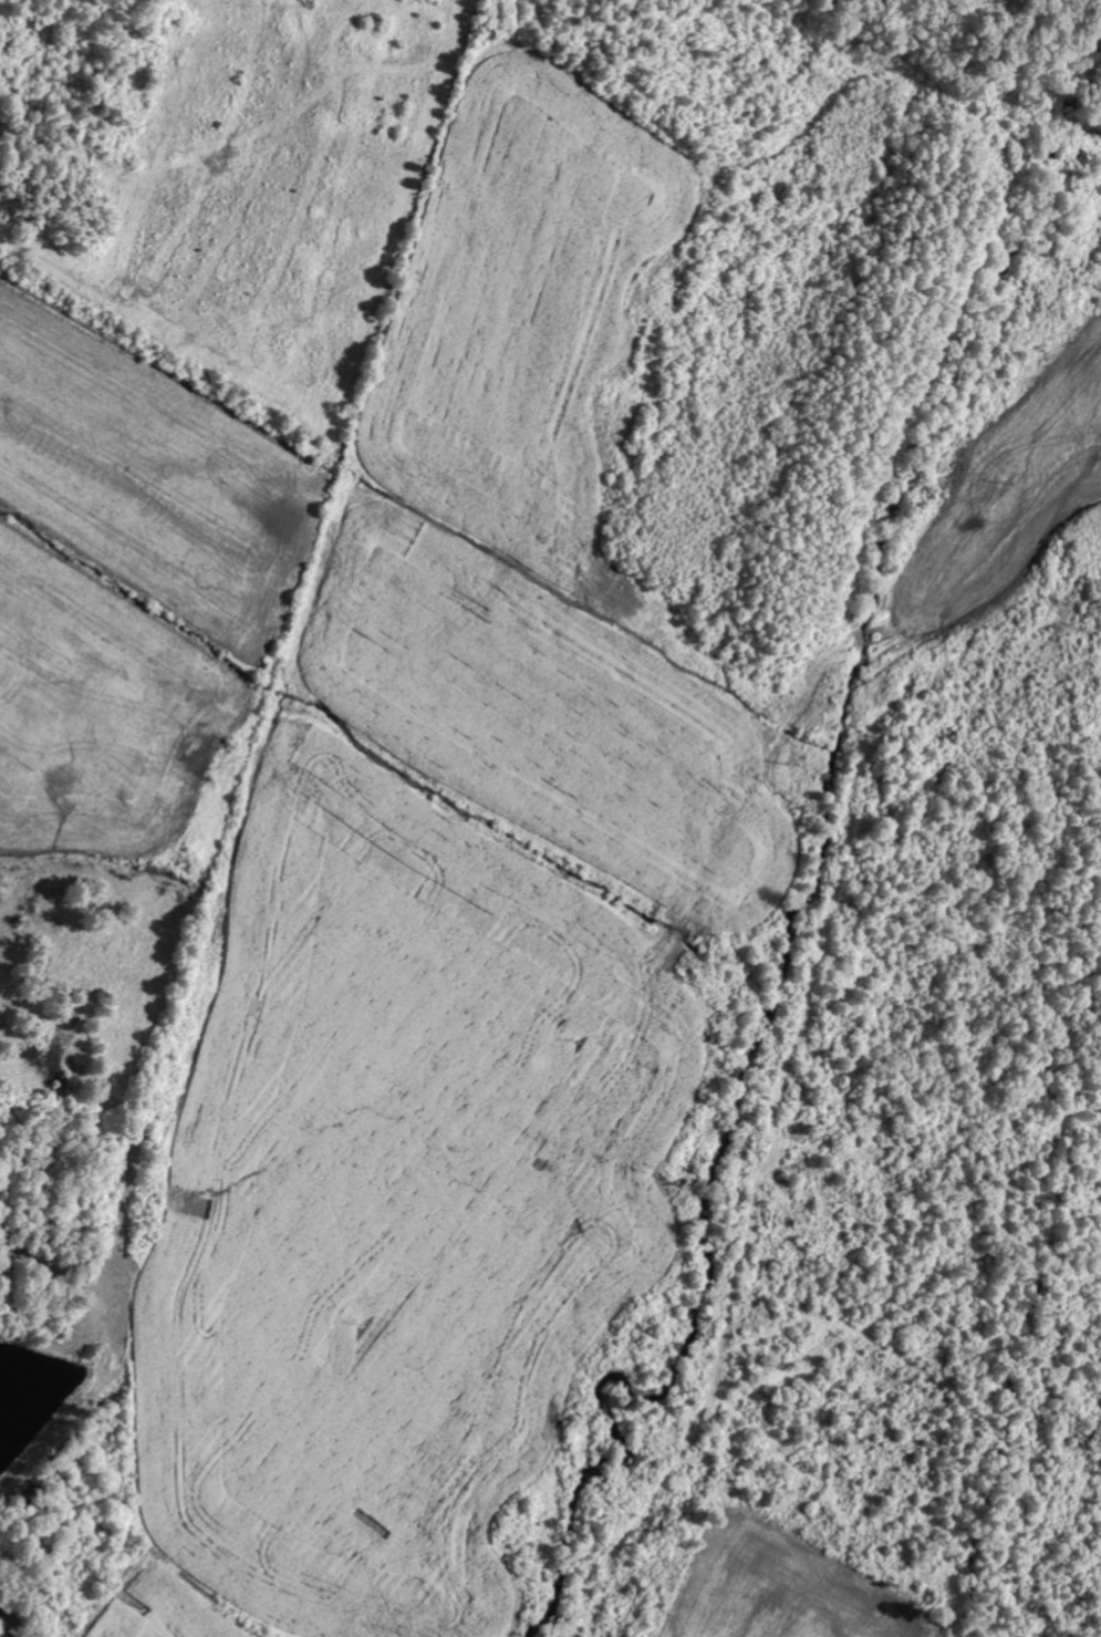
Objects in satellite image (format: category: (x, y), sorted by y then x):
road: (7, 1624)

